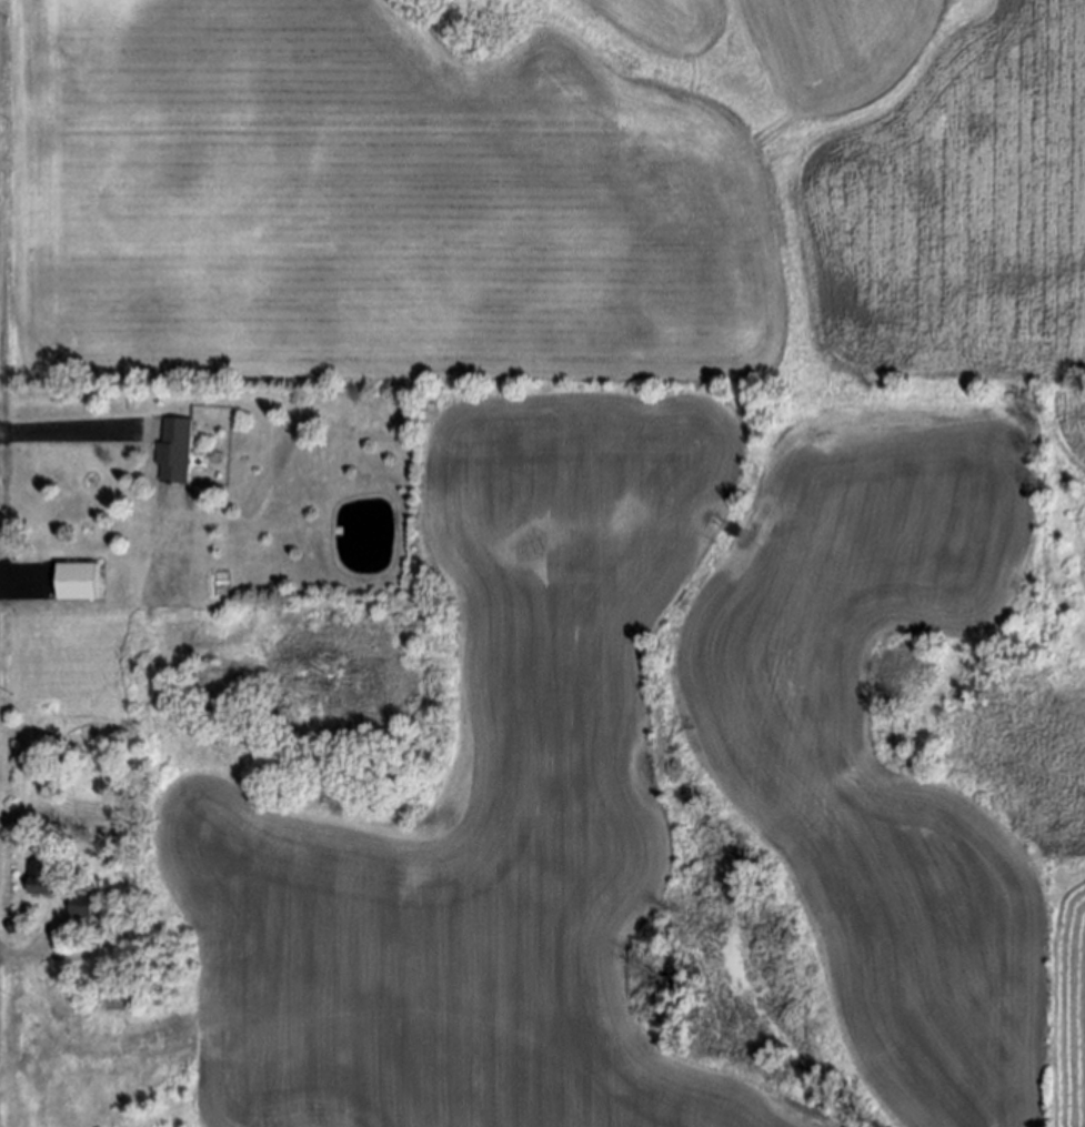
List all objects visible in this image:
crop: (663, 23)
crop: (834, 49)
crop: (958, 217)
road: (63, 432)
building: (169, 447)
crop: (421, 504)
building: (77, 582)
road: (18, 584)
crop: (787, 759)
building: (39, 879)
building: (80, 908)

